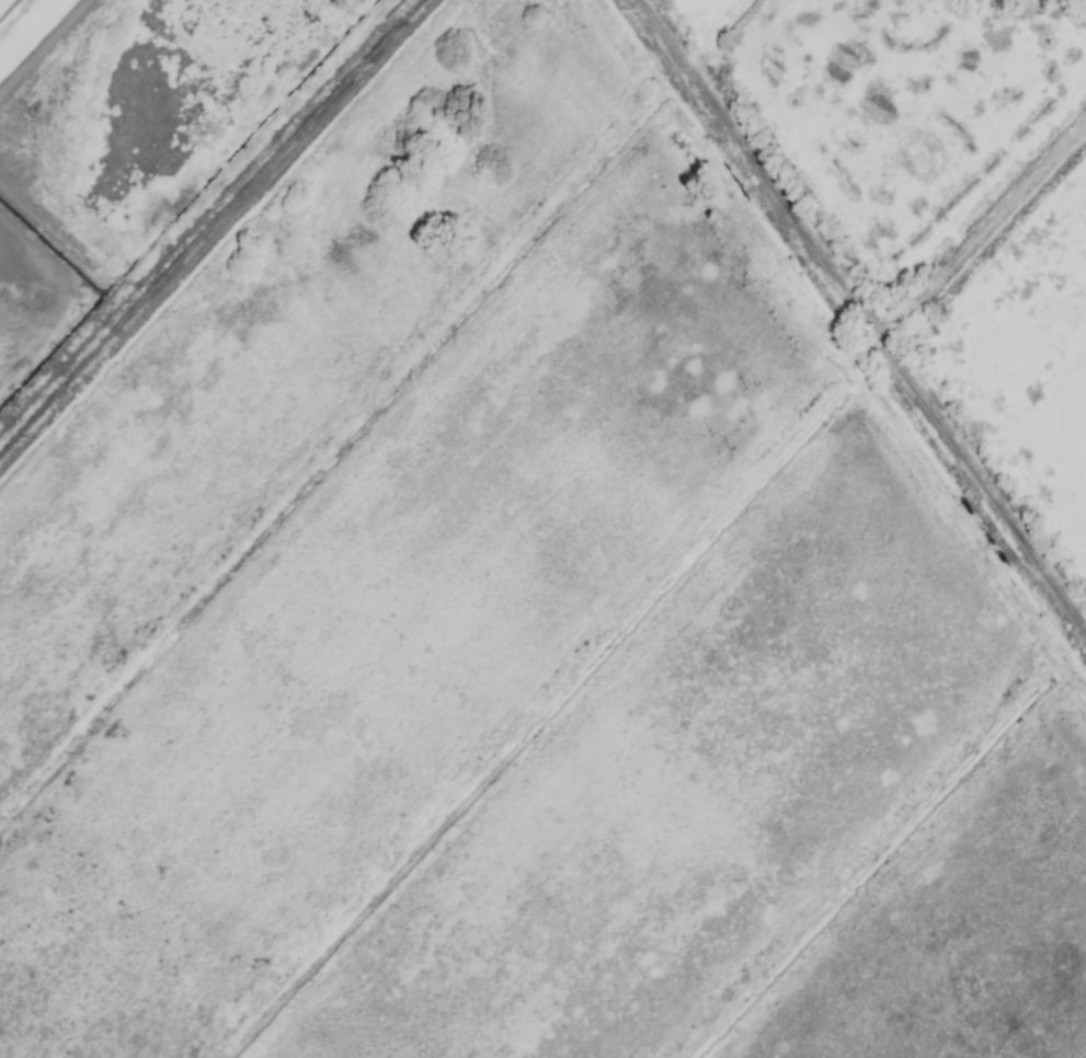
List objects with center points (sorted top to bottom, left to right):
crop: (542, 529)

